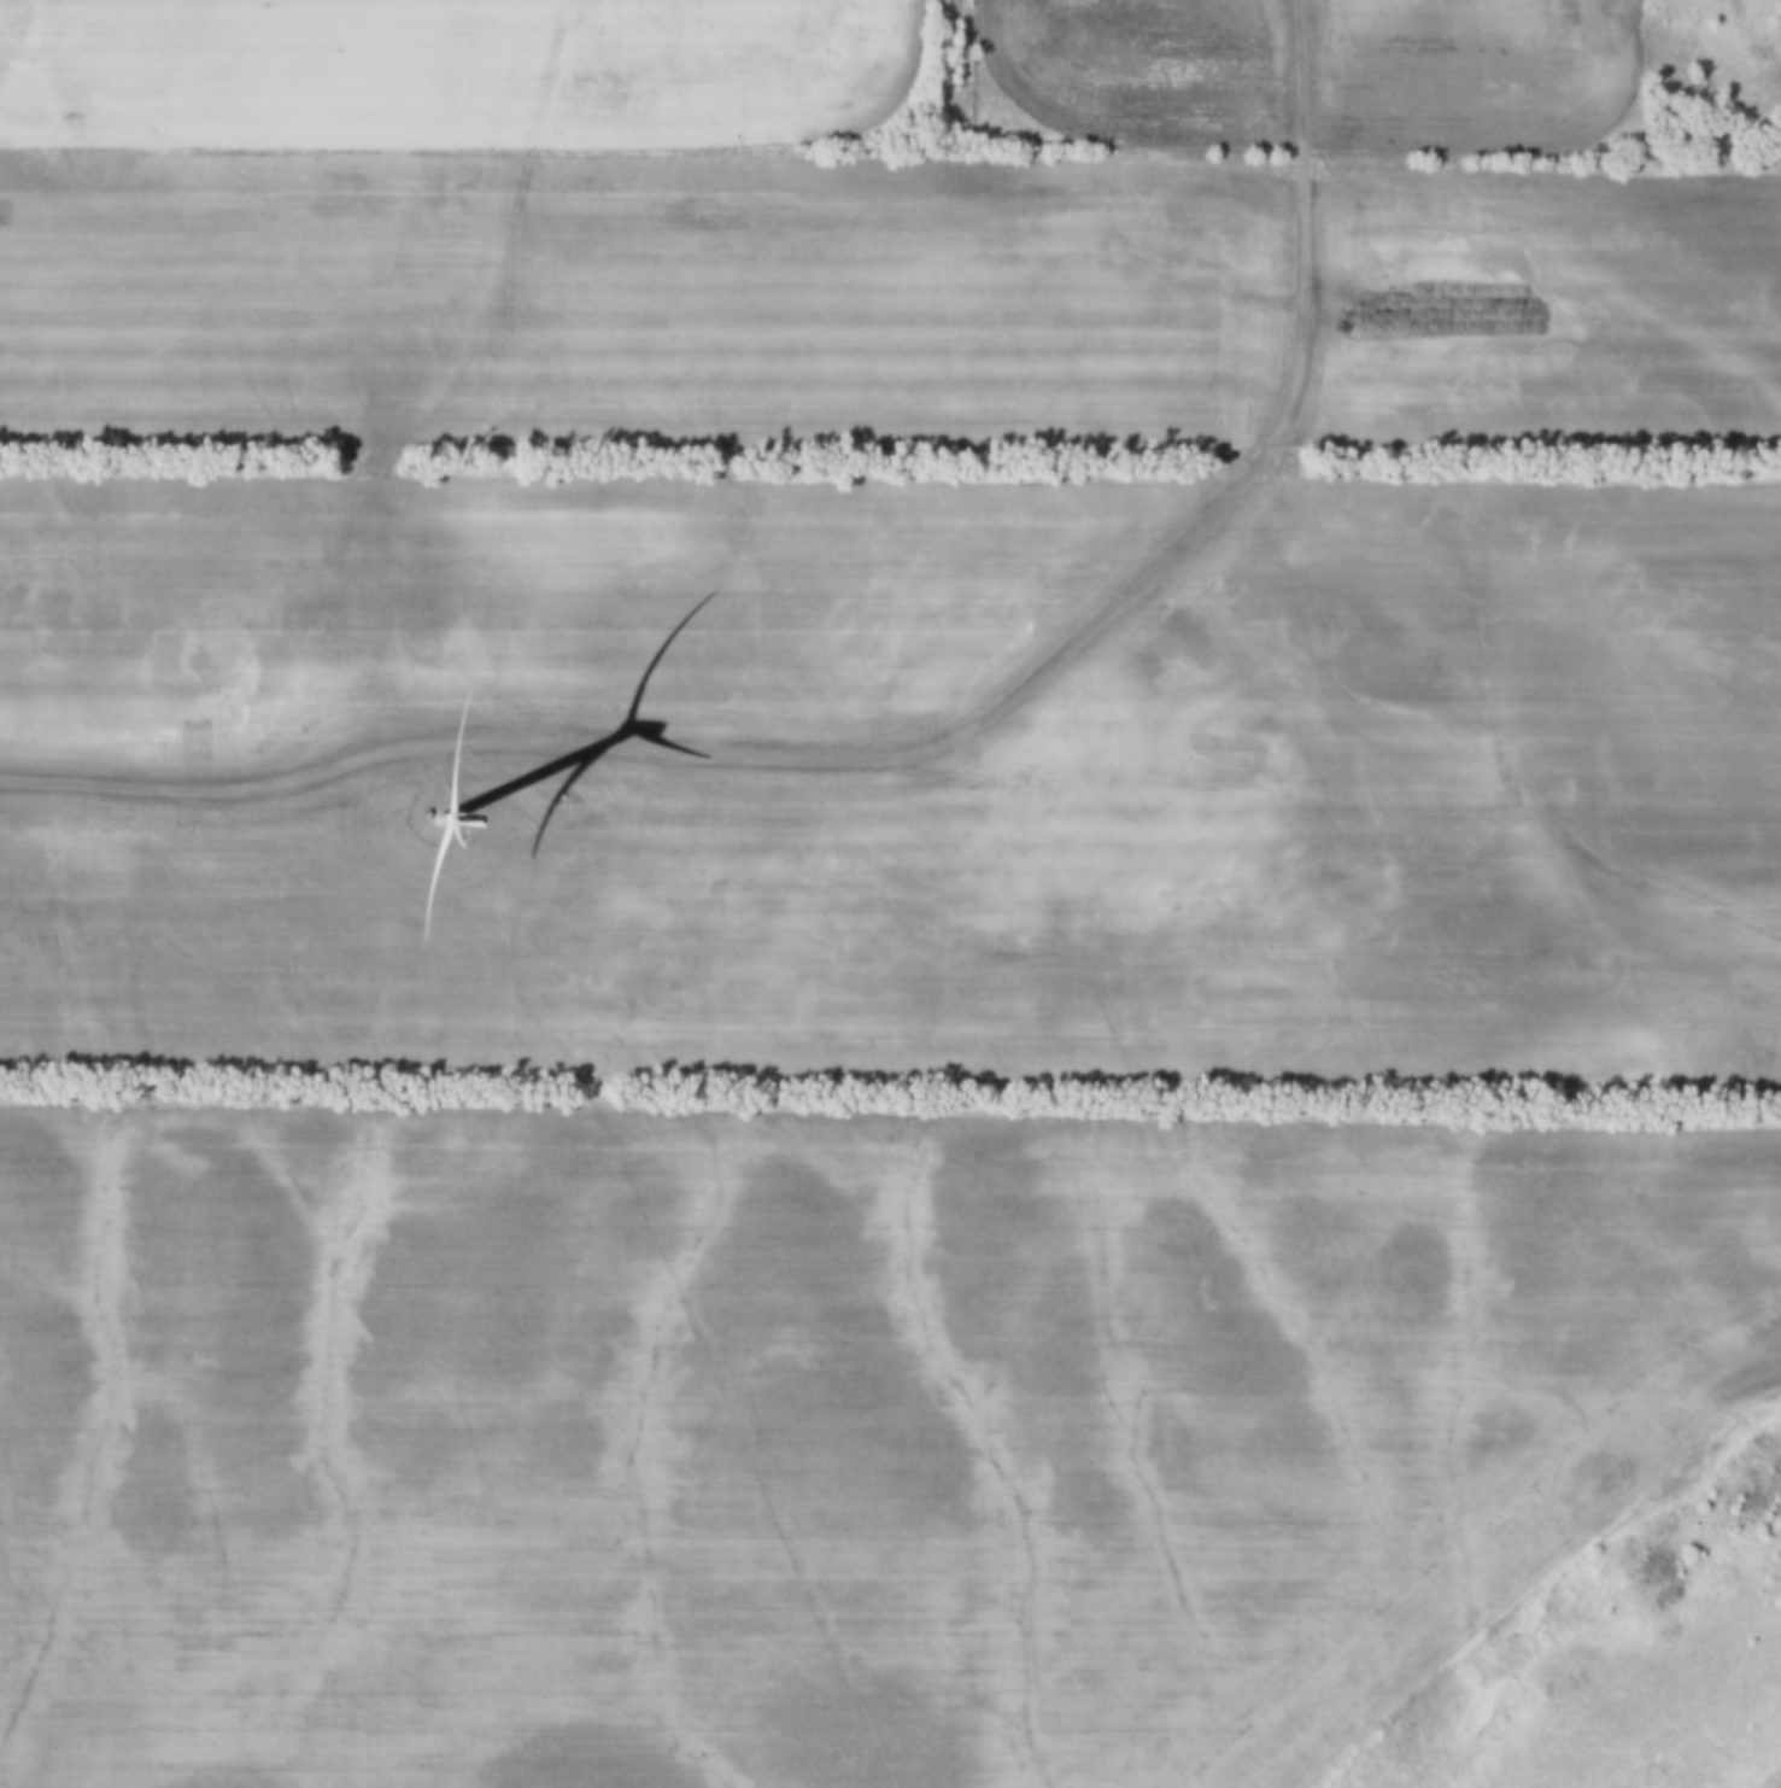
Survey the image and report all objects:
road: (914, 752)
building: (387, 814)
wind turbine: (440, 822)
building: (162, 836)

